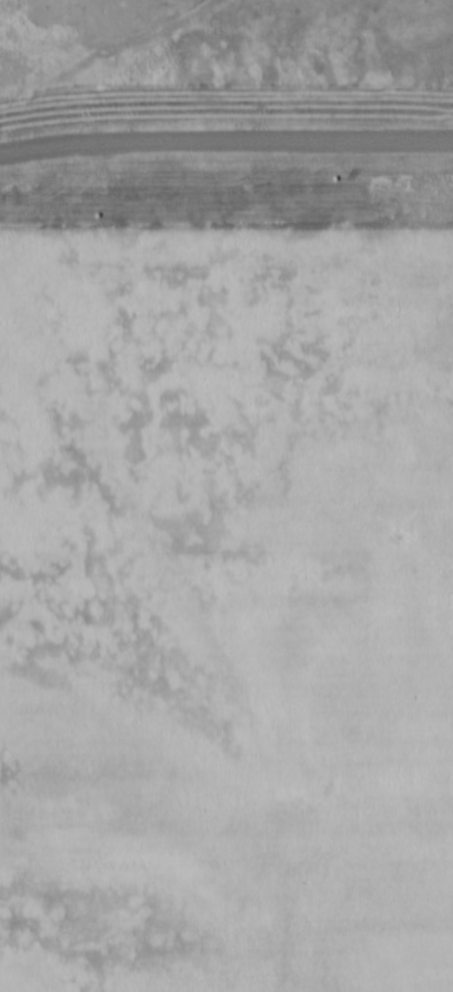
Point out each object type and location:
road: (96, 55)
road: (226, 141)

